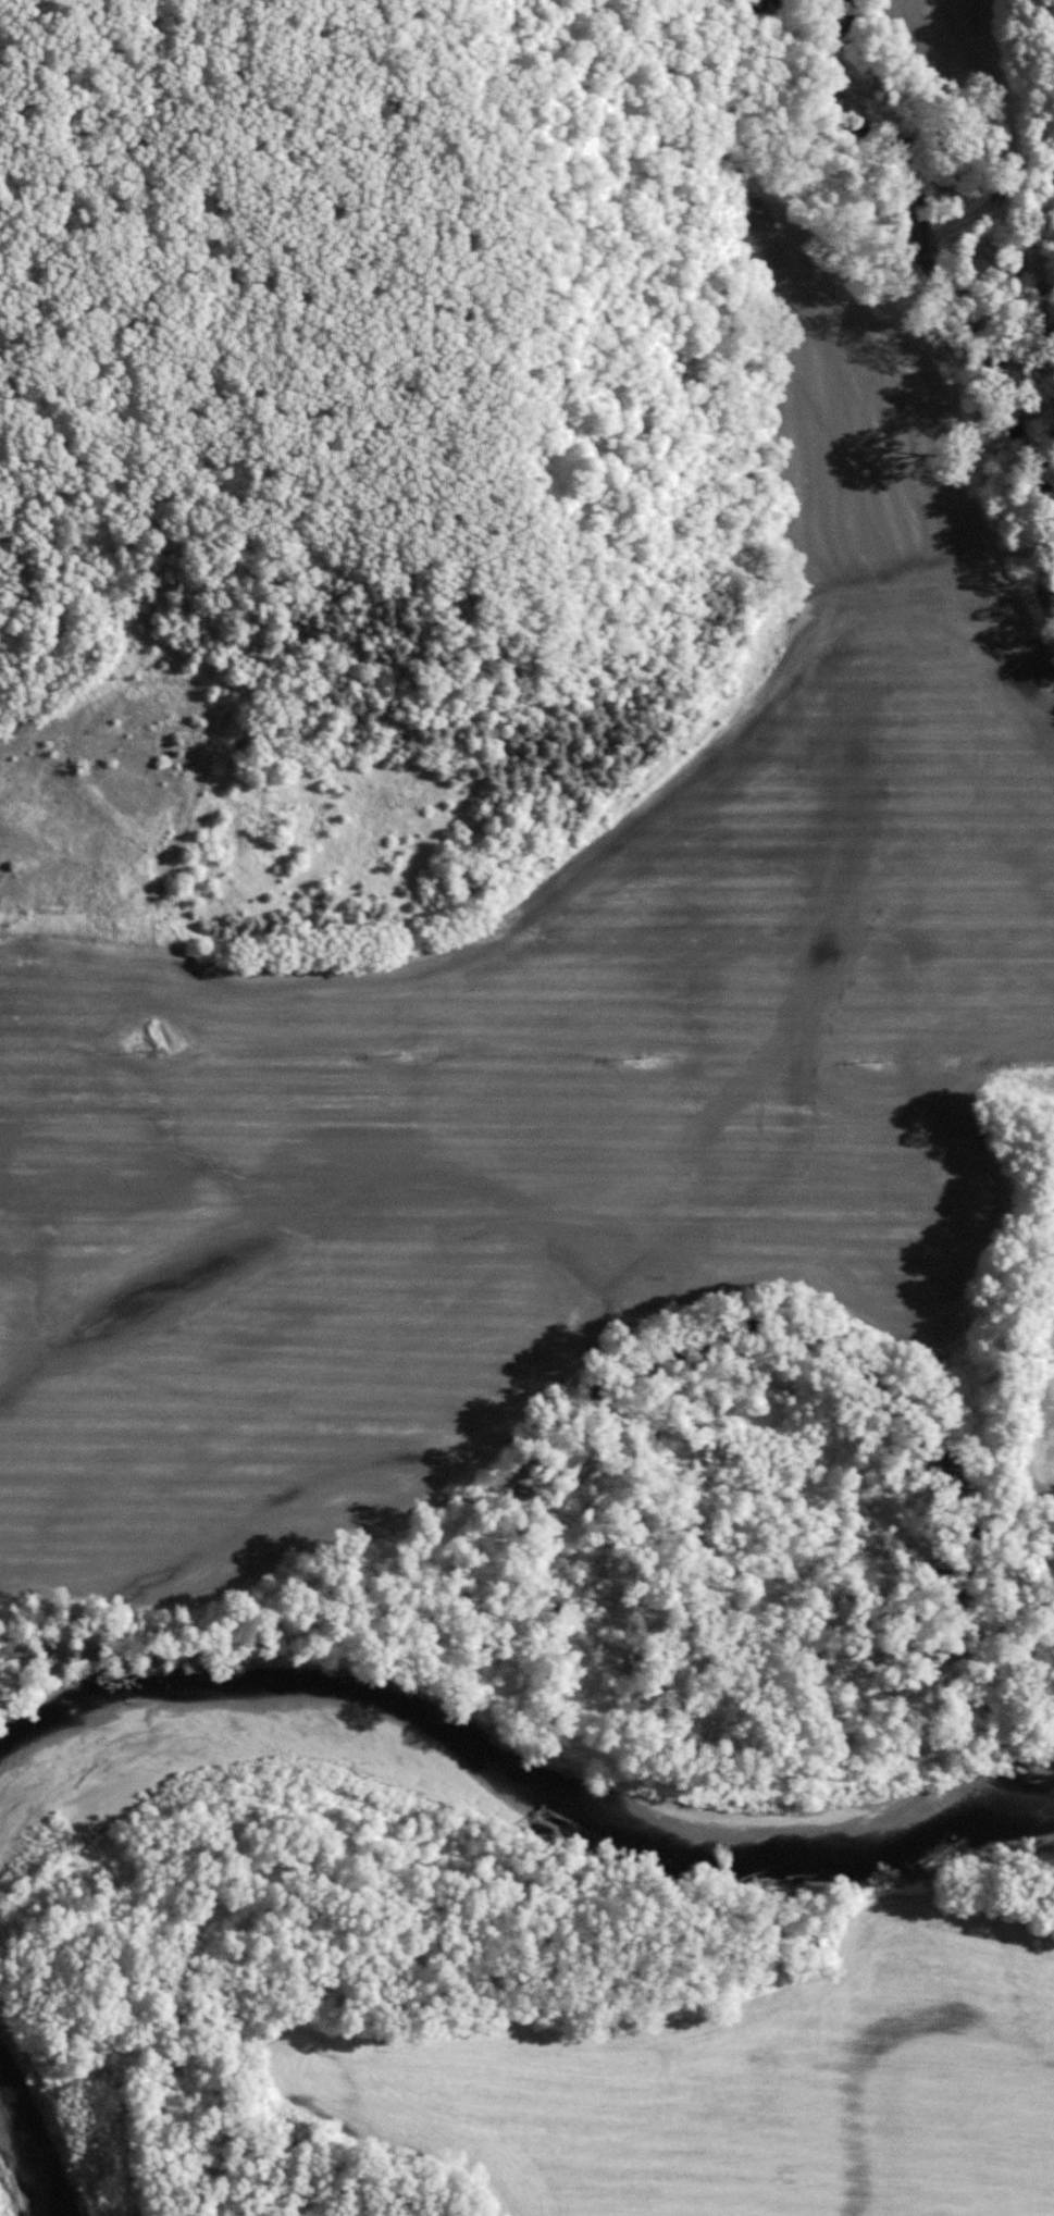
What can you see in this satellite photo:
river: (510, 1794)

